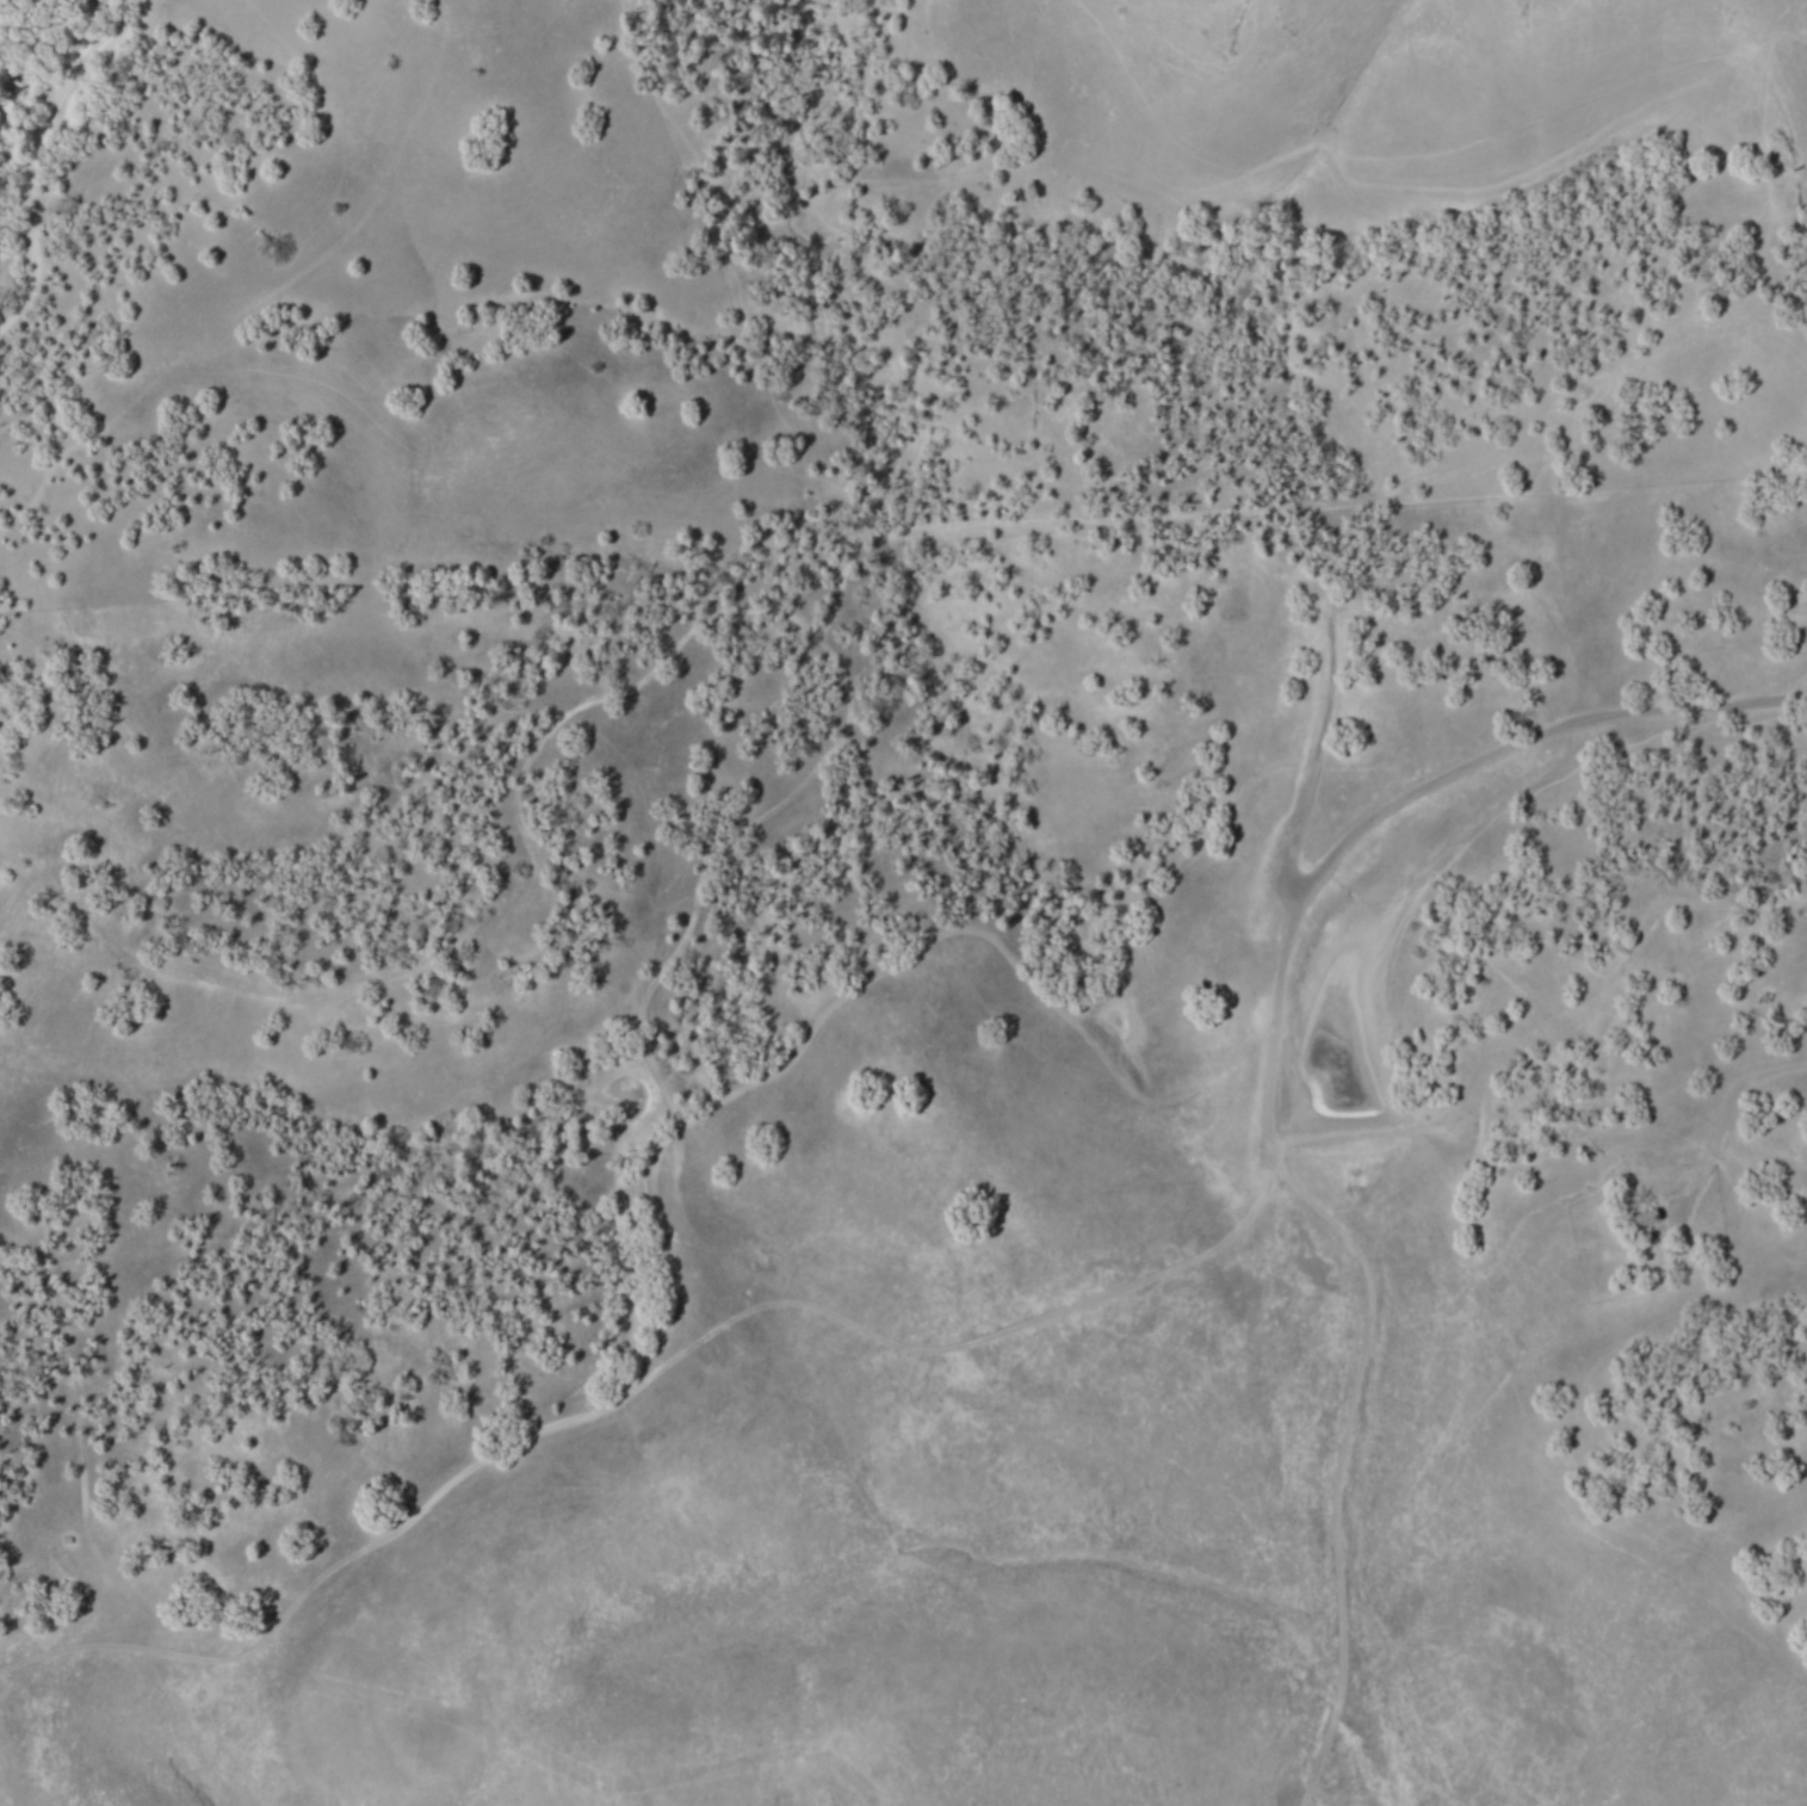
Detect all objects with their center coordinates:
road: (1535, 735)
road: (1265, 1100)
road: (1722, 1115)
building: (1647, 1217)

